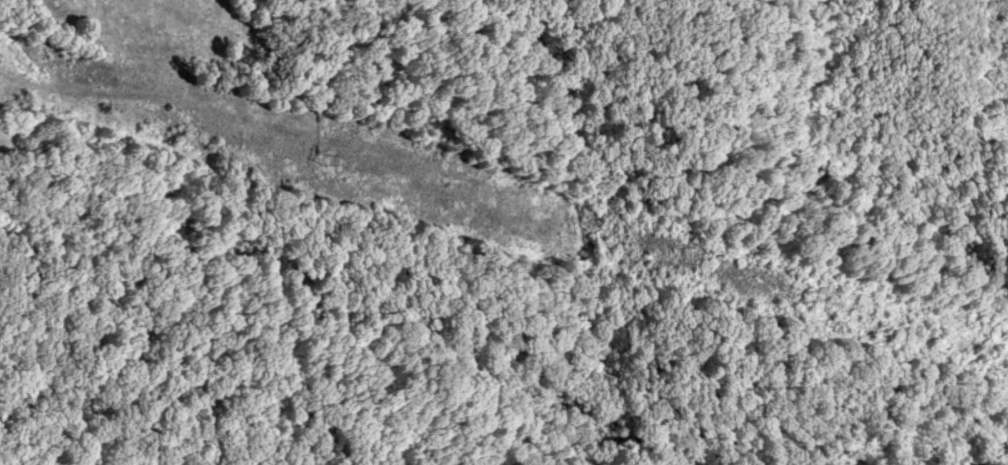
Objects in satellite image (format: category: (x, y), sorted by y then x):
power tower: (319, 158)
power tower: (798, 295)

